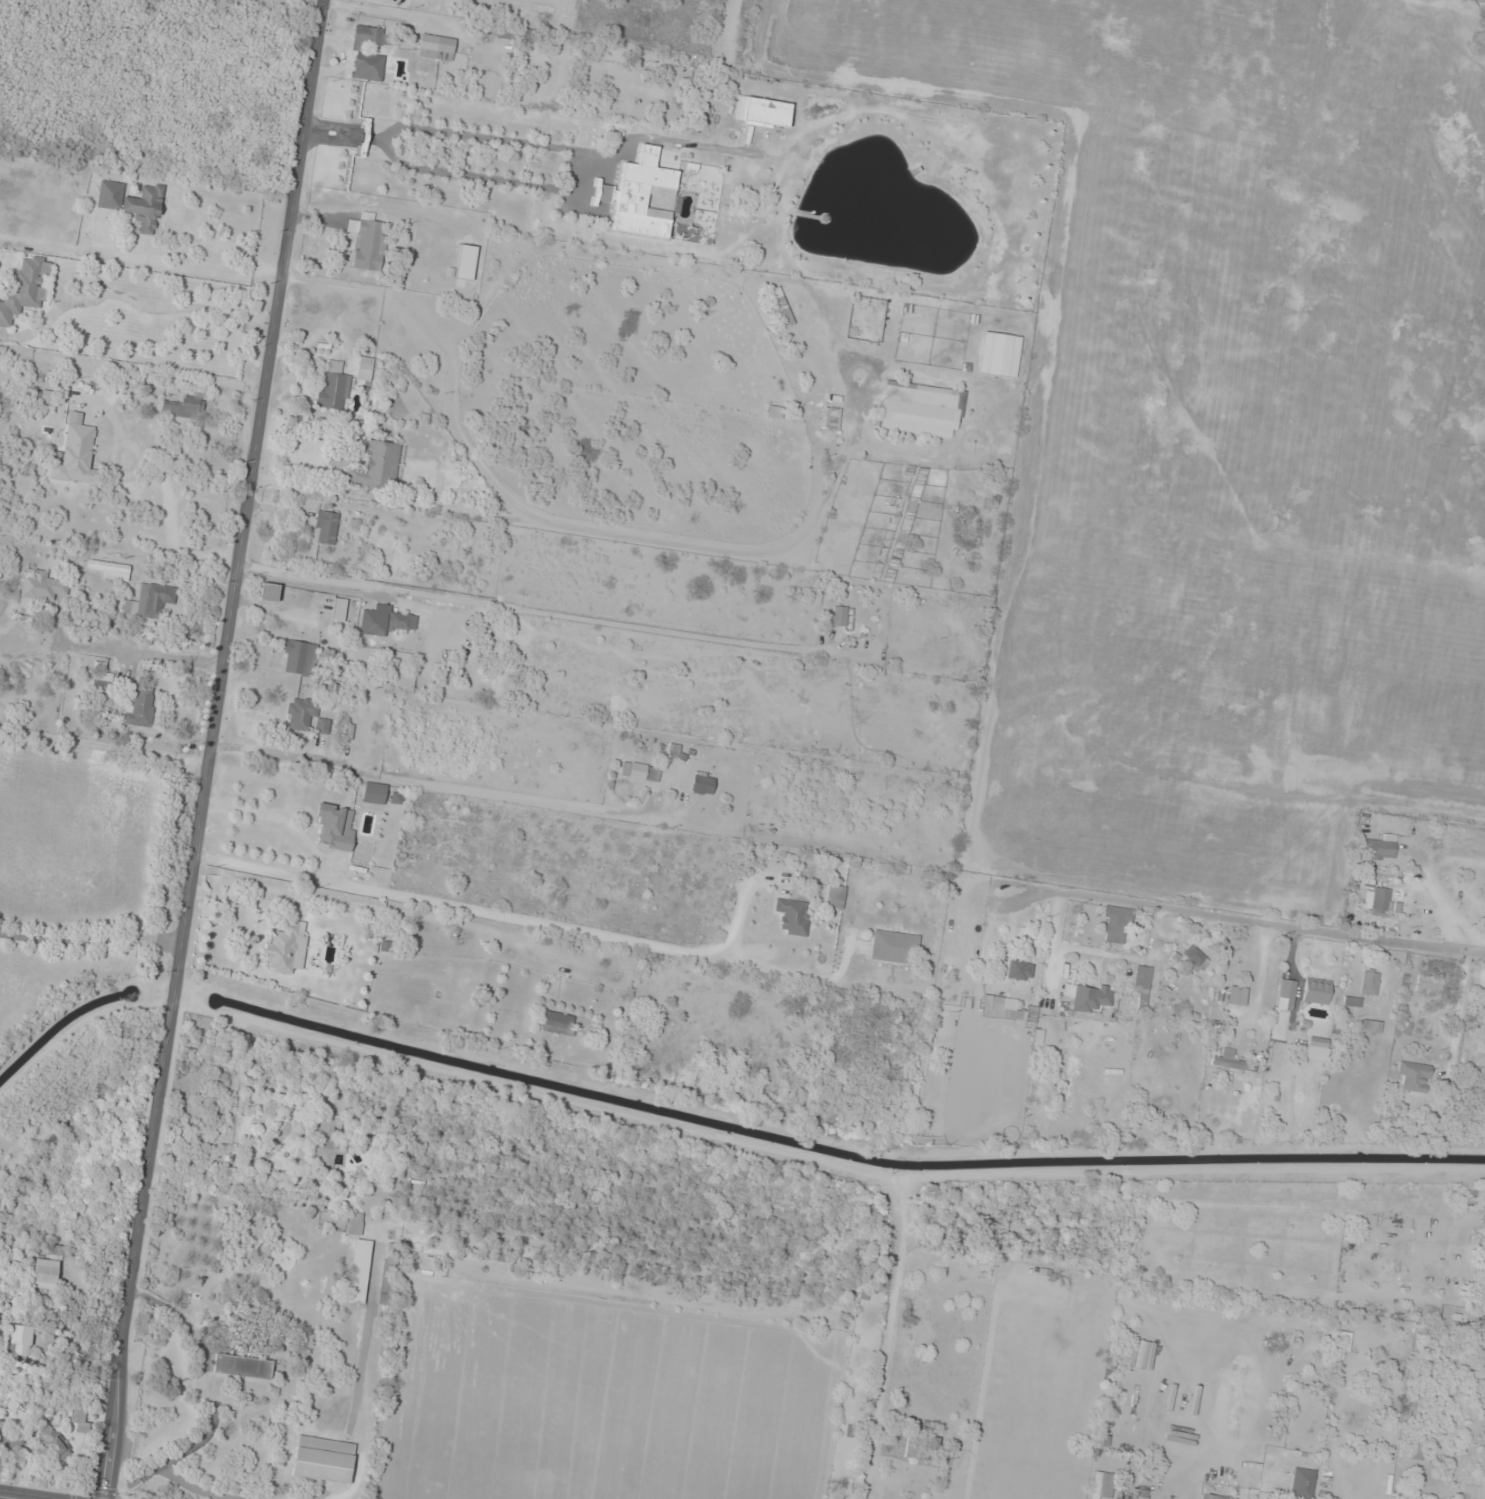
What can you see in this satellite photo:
building: (515, 33)
building: (370, 36)
building: (435, 46)
building: (367, 66)
building: (766, 113)
building: (642, 196)
building: (132, 203)
building: (368, 242)
road: (195, 245)
building: (465, 262)
building: (25, 288)
road: (58, 299)
building: (780, 307)
road: (166, 308)
building: (1000, 354)
building: (334, 386)
building: (184, 407)
building: (921, 409)
building: (77, 455)
building: (377, 466)
road: (165, 488)
building: (905, 523)
building: (325, 526)
road: (555, 537)
building: (110, 569)
building: (42, 586)
building: (269, 591)
building: (150, 601)
building: (938, 603)
building: (338, 609)
building: (836, 615)
building: (384, 620)
building: (299, 657)
building: (139, 708)
building: (304, 715)
road: (210, 749)
building: (638, 770)
building: (702, 782)
building: (373, 792)
building: (335, 826)
building: (1381, 847)
building: (834, 896)
building: (1377, 901)
building: (793, 916)
road: (510, 917)
road: (1293, 920)
building: (1116, 924)
building: (285, 947)
building: (894, 947)
building: (1195, 959)
building: (1020, 970)
building: (1368, 982)
building: (1141, 984)
building: (1429, 984)
building: (1315, 990)
building: (1285, 994)
building: (1236, 995)
building: (1087, 996)
building: (1351, 1001)
building: (1006, 1009)
building: (556, 1022)
building: (1369, 1026)
building: (1316, 1041)
building: (1313, 1052)
building: (1231, 1061)
building: (1414, 1076)
building: (328, 1139)
building: (355, 1223)
building: (359, 1271)
building: (44, 1273)
building: (1480, 1321)
building: (19, 1340)
building: (1345, 1341)
building: (242, 1366)
building: (79, 1420)
building: (52, 1442)
building: (920, 1447)
building: (1416, 1449)
building: (1301, 1483)
building: (1101, 1485)
building: (1211, 1496)
road: (11, 1497)

